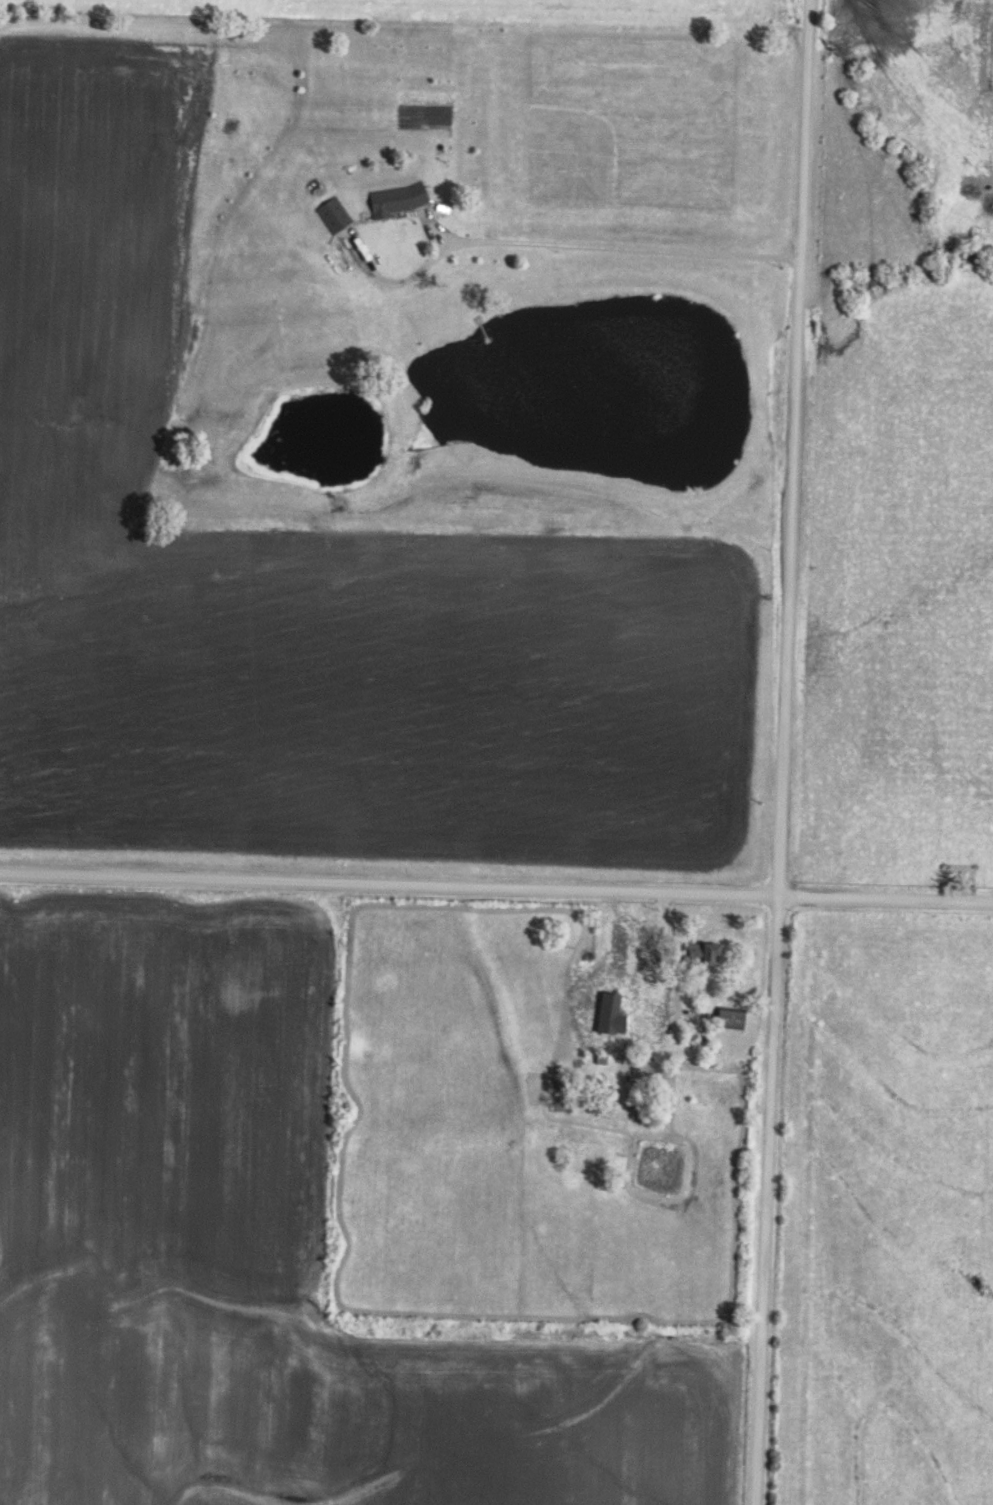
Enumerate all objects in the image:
building: (398, 199)
building: (333, 215)
road: (558, 243)
road: (784, 752)
park: (958, 874)
road: (496, 888)
road: (674, 951)
building: (702, 952)
building: (731, 1018)
building: (608, 1024)

